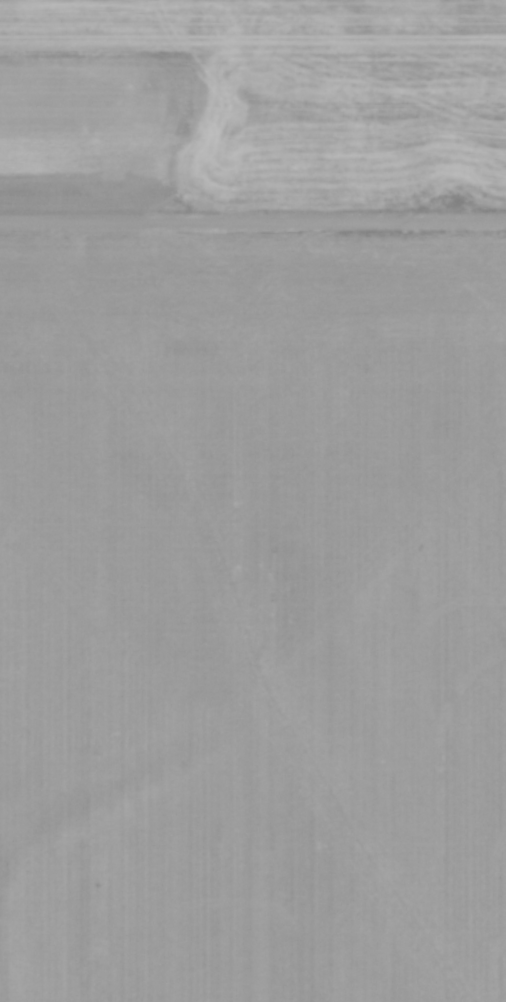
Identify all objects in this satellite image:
crop: (252, 103)
road: (253, 217)
crop: (253, 615)

